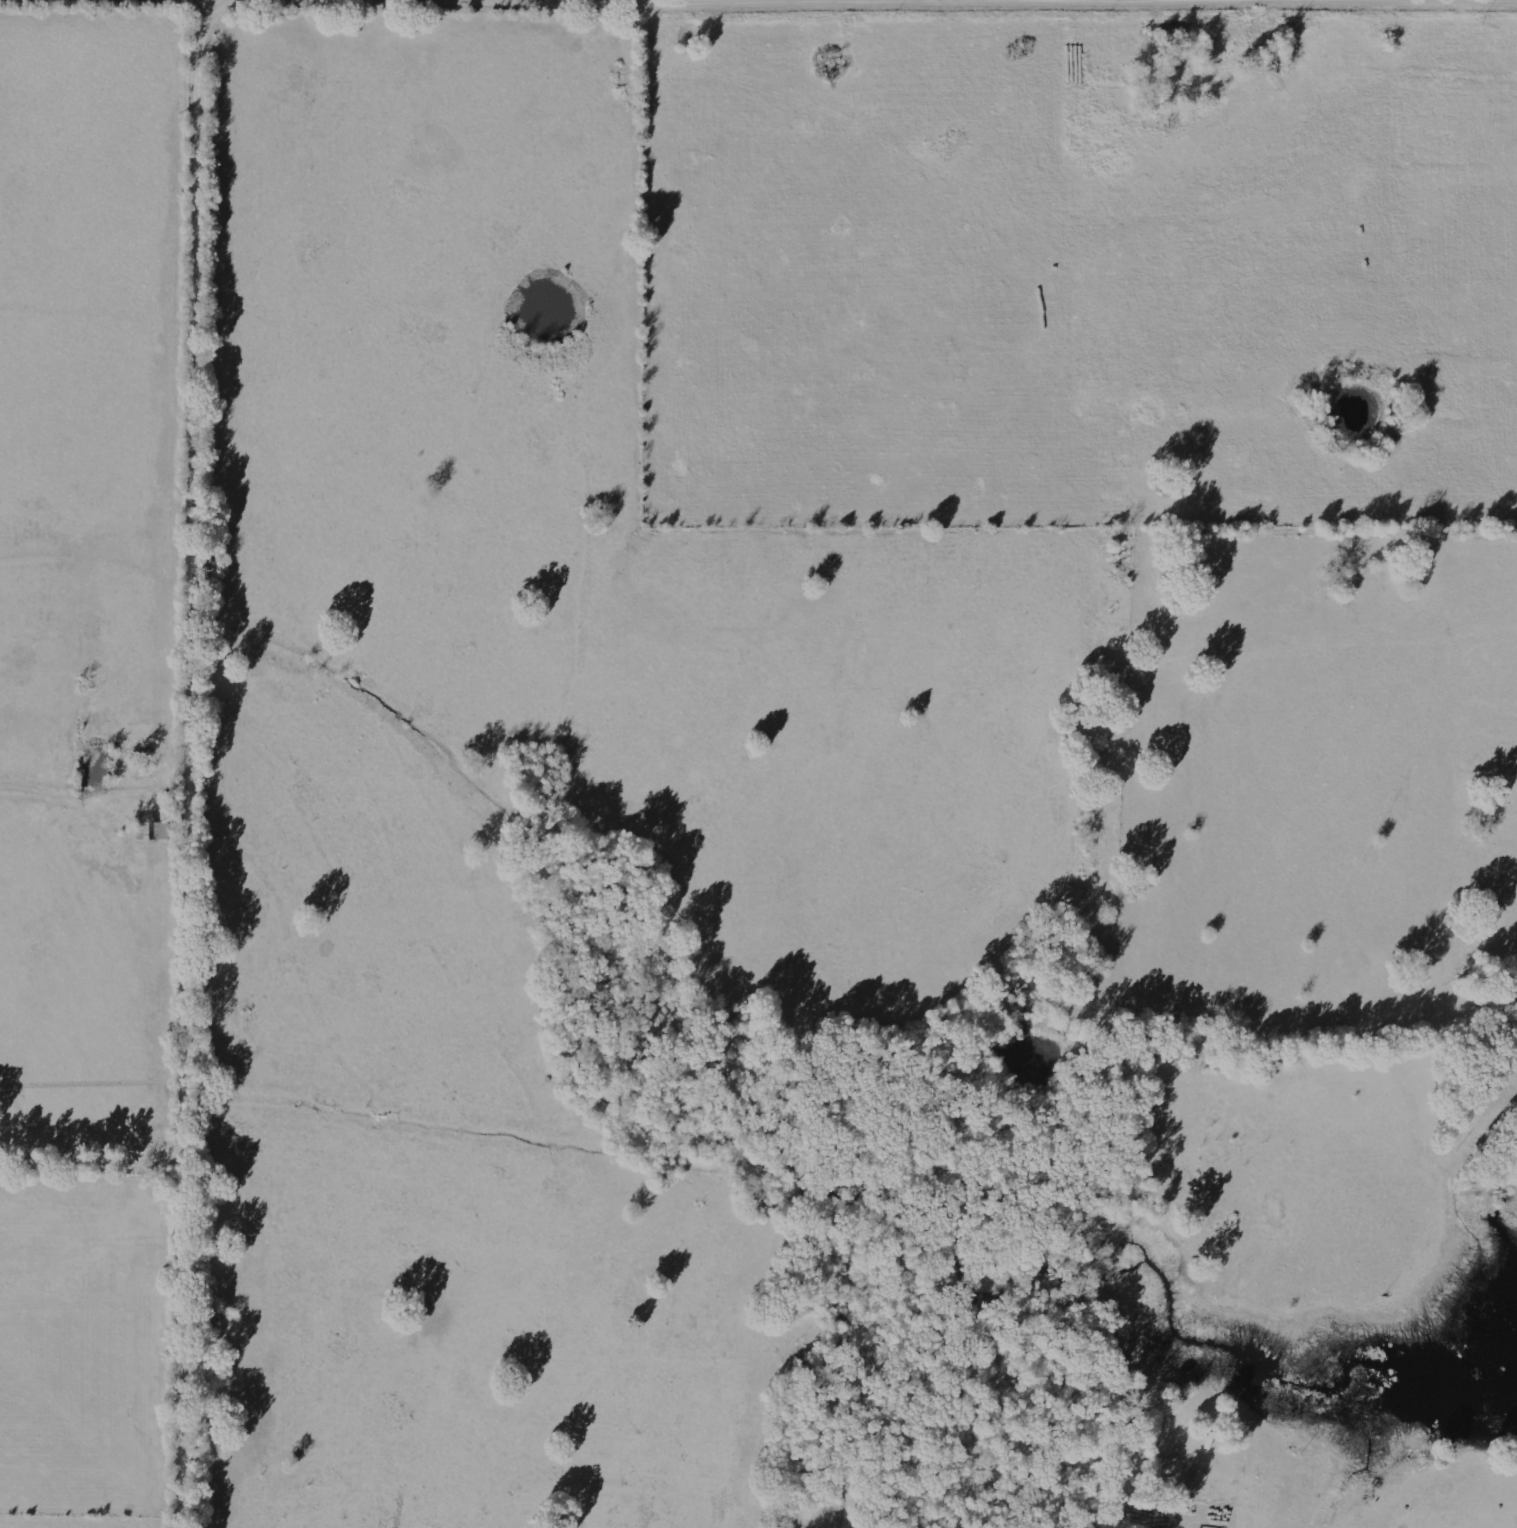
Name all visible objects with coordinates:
road: (632, 3)
road: (203, 120)
road: (98, 802)

